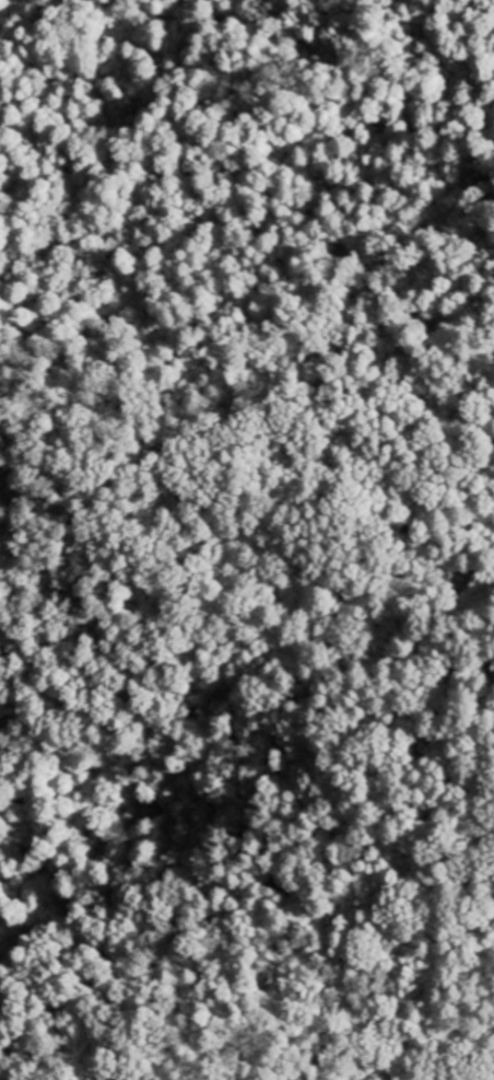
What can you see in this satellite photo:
road: (404, 1026)

